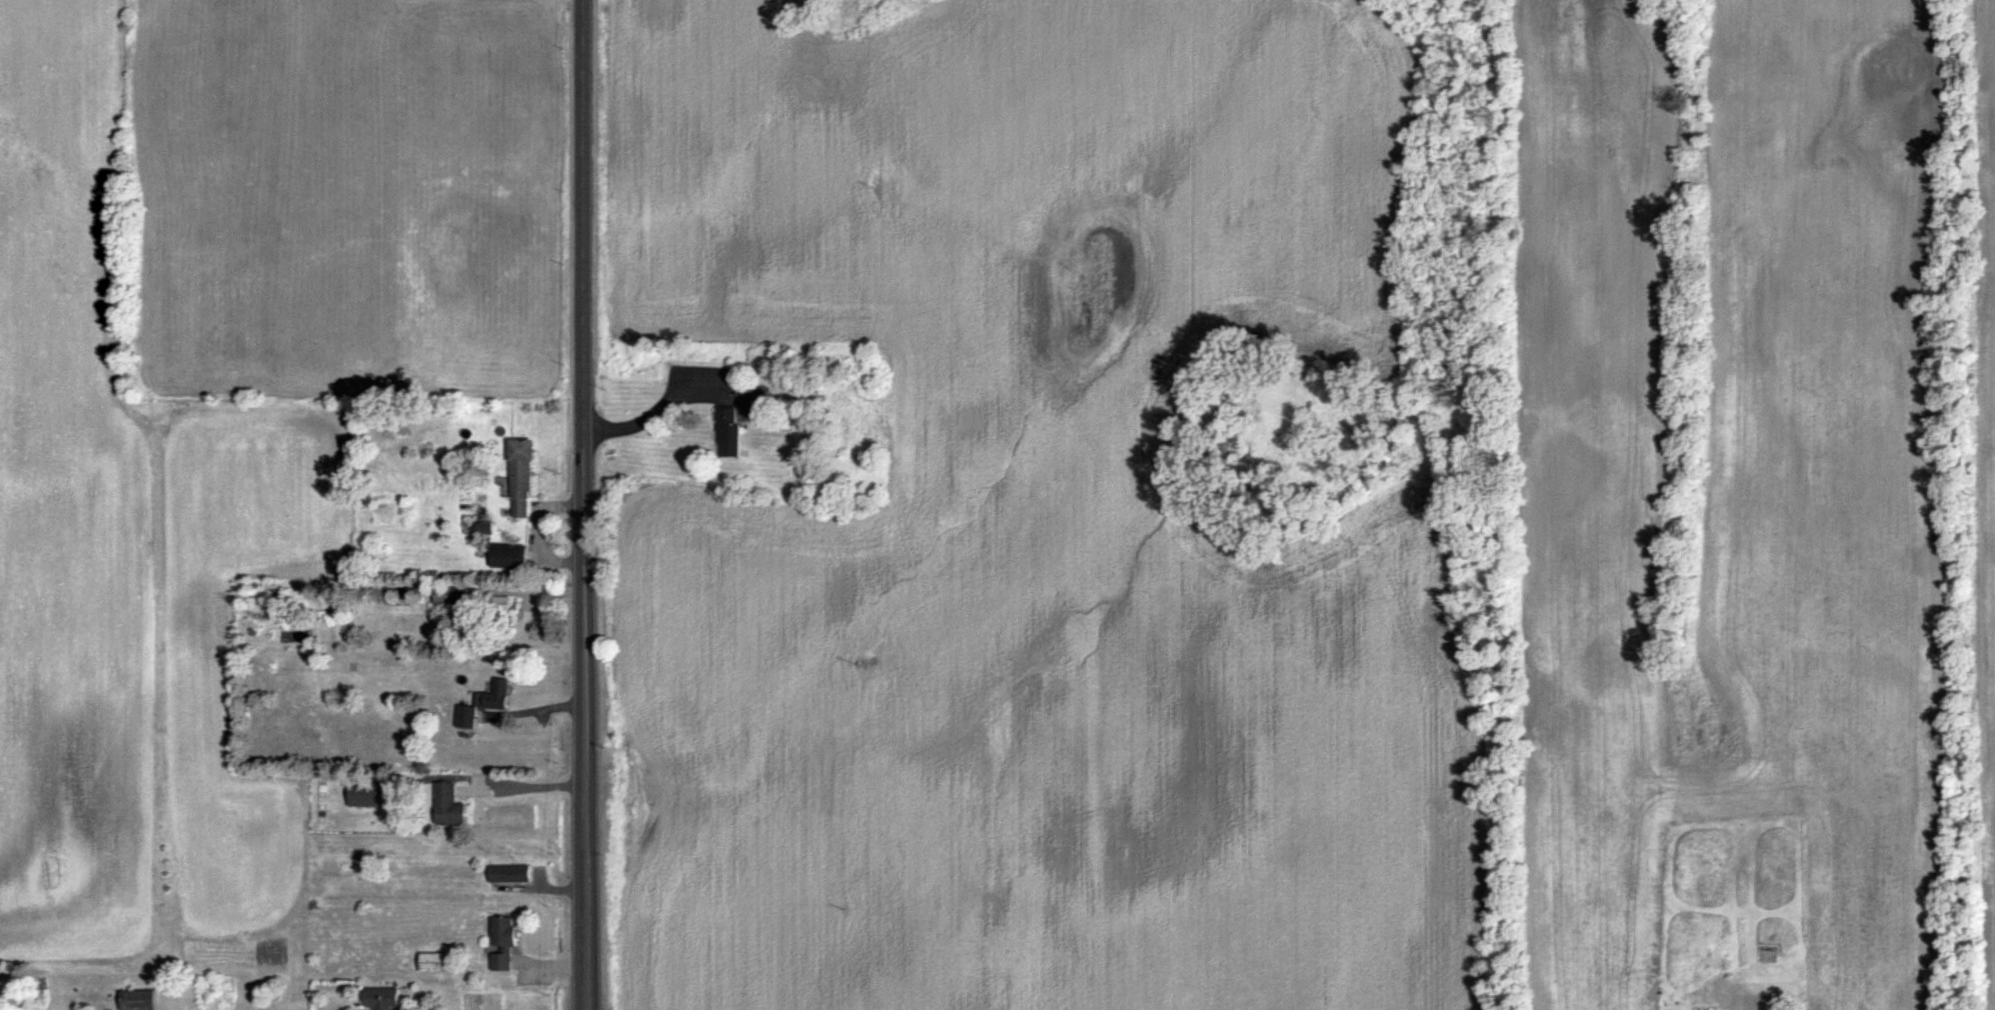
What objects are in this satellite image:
road: (657, 407)
building: (728, 430)
crop: (1985, 459)
building: (520, 476)
crop: (1726, 478)
road: (588, 504)
crop: (71, 505)
building: (483, 527)
road: (538, 533)
building: (508, 555)
road: (528, 592)
building: (451, 594)
building: (501, 609)
building: (494, 694)
building: (466, 715)
road: (533, 785)
building: (367, 794)
building: (449, 804)
building: (510, 872)
building: (504, 941)
building: (435, 961)
building: (382, 997)
building: (140, 999)

